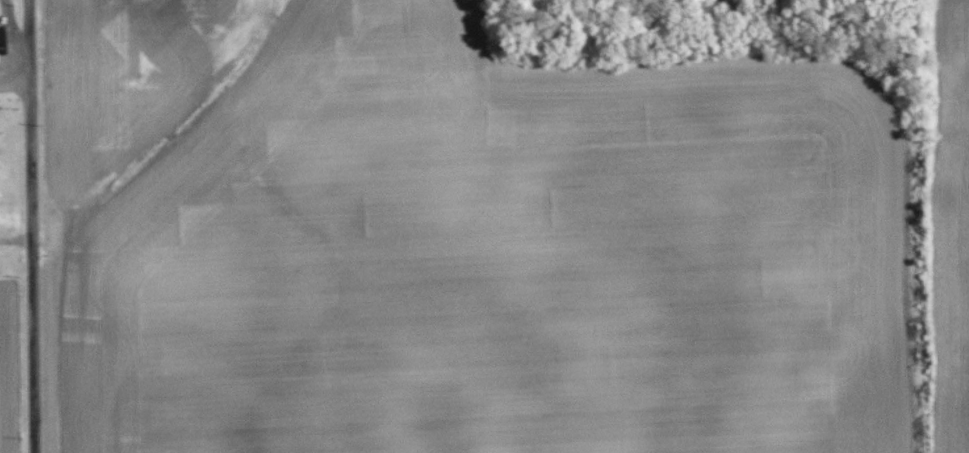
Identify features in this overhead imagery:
road: (12, 41)
road: (15, 82)
road: (32, 226)

